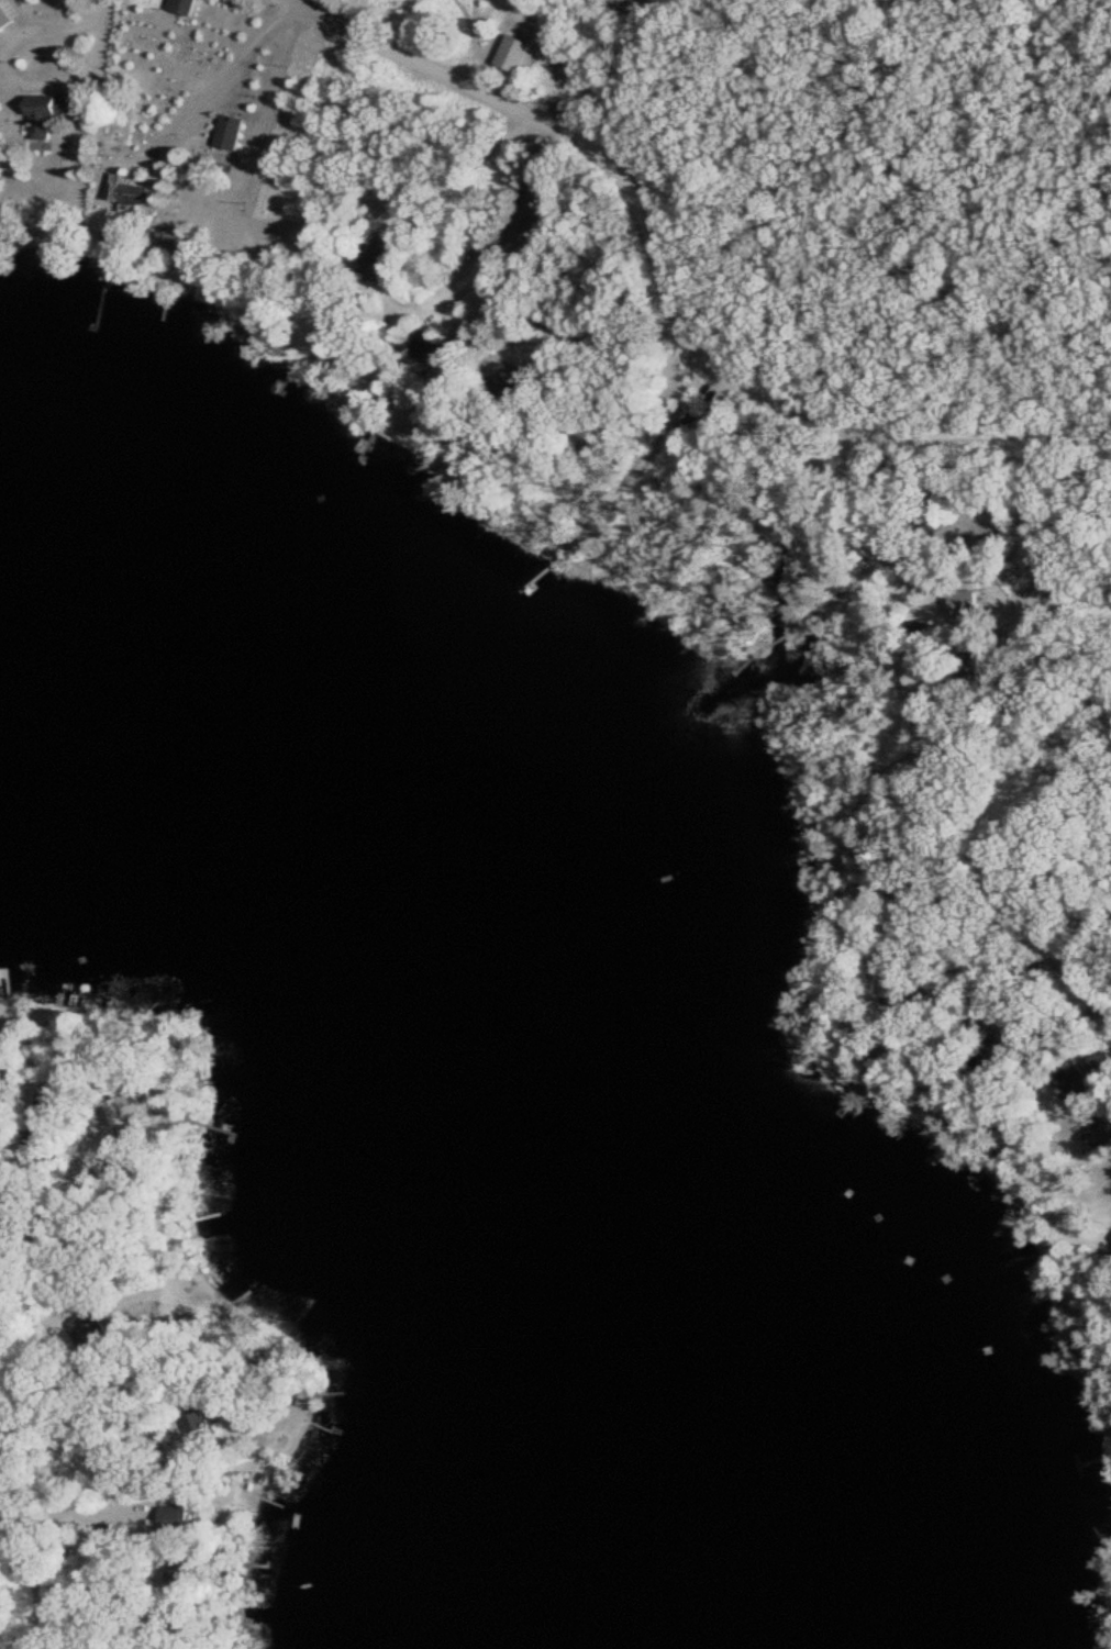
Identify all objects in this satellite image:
building: (187, 5)
building: (10, 12)
building: (519, 51)
building: (53, 114)
road: (116, 122)
building: (235, 130)
road: (295, 145)
building: (140, 191)
building: (388, 253)
road: (674, 290)
building: (695, 423)
building: (1042, 565)
building: (969, 601)
road: (1049, 644)
building: (93, 1330)
road: (24, 1507)
building: (180, 1516)

